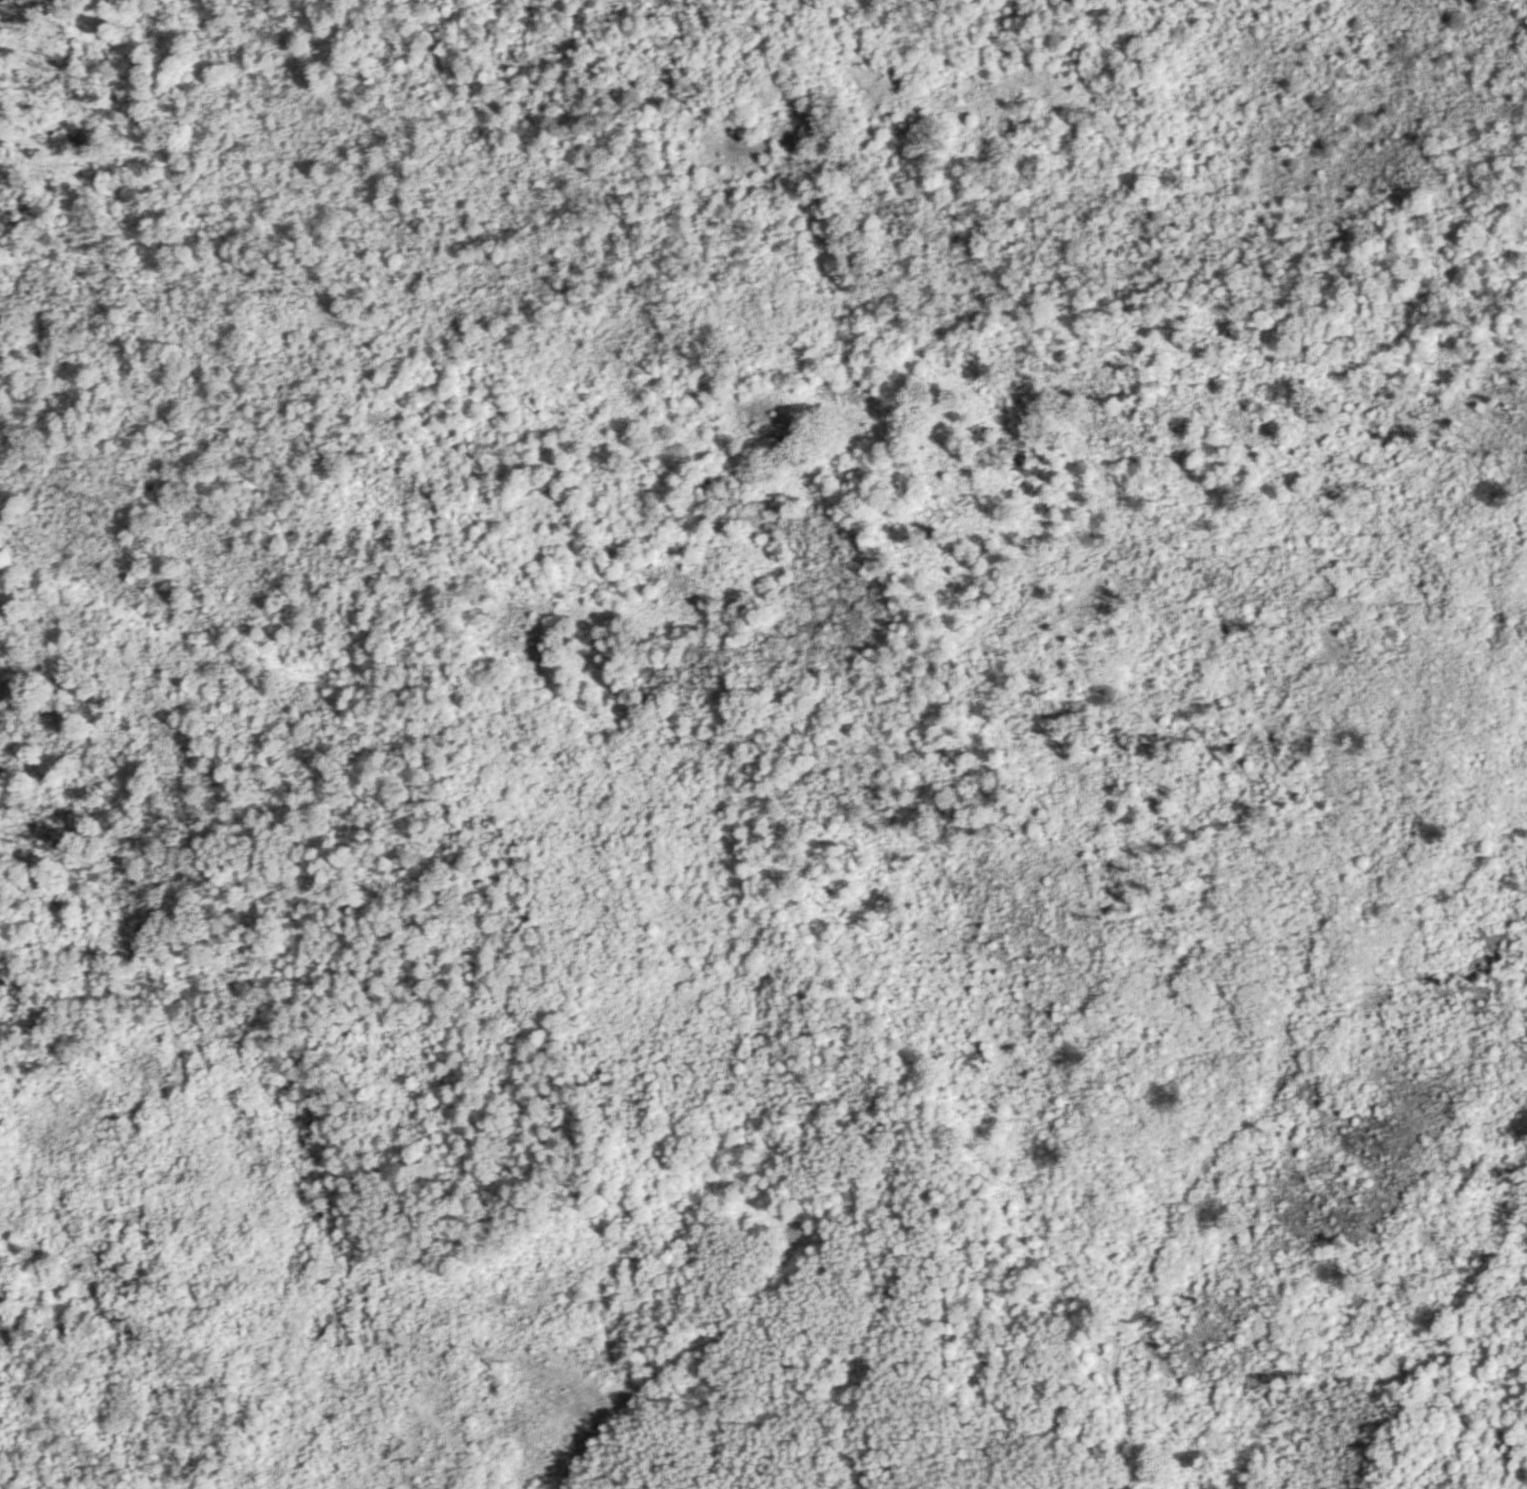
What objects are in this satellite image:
road: (1297, 1309)
road: (596, 1426)

